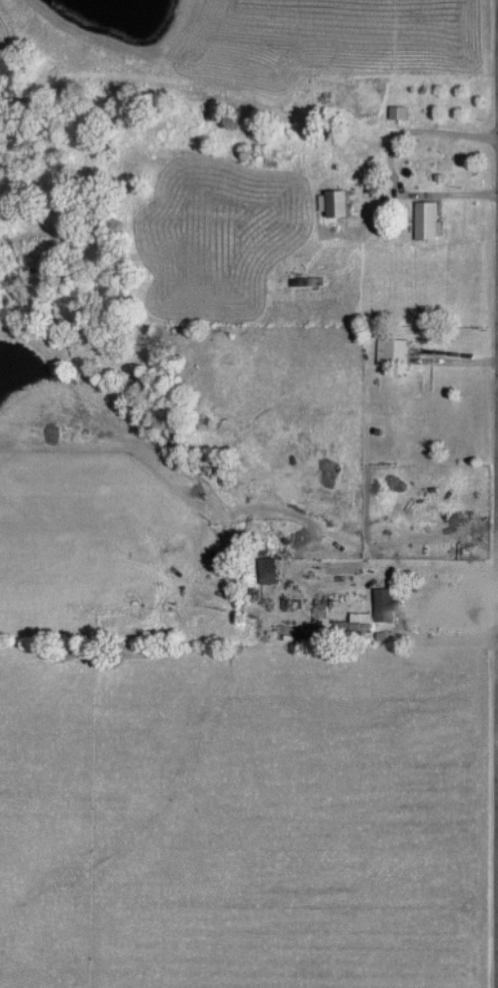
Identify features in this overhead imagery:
building: (395, 111)
building: (329, 202)
building: (424, 220)
building: (391, 350)
building: (265, 569)
building: (382, 603)
building: (353, 620)

